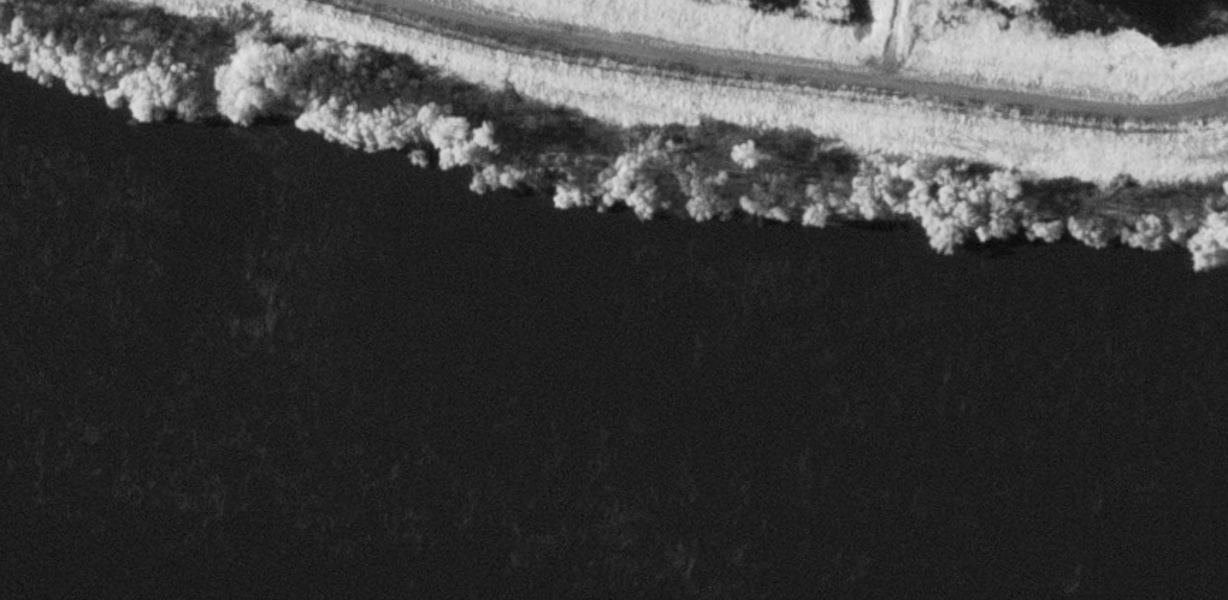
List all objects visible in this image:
road: (798, 75)
river: (614, 494)

